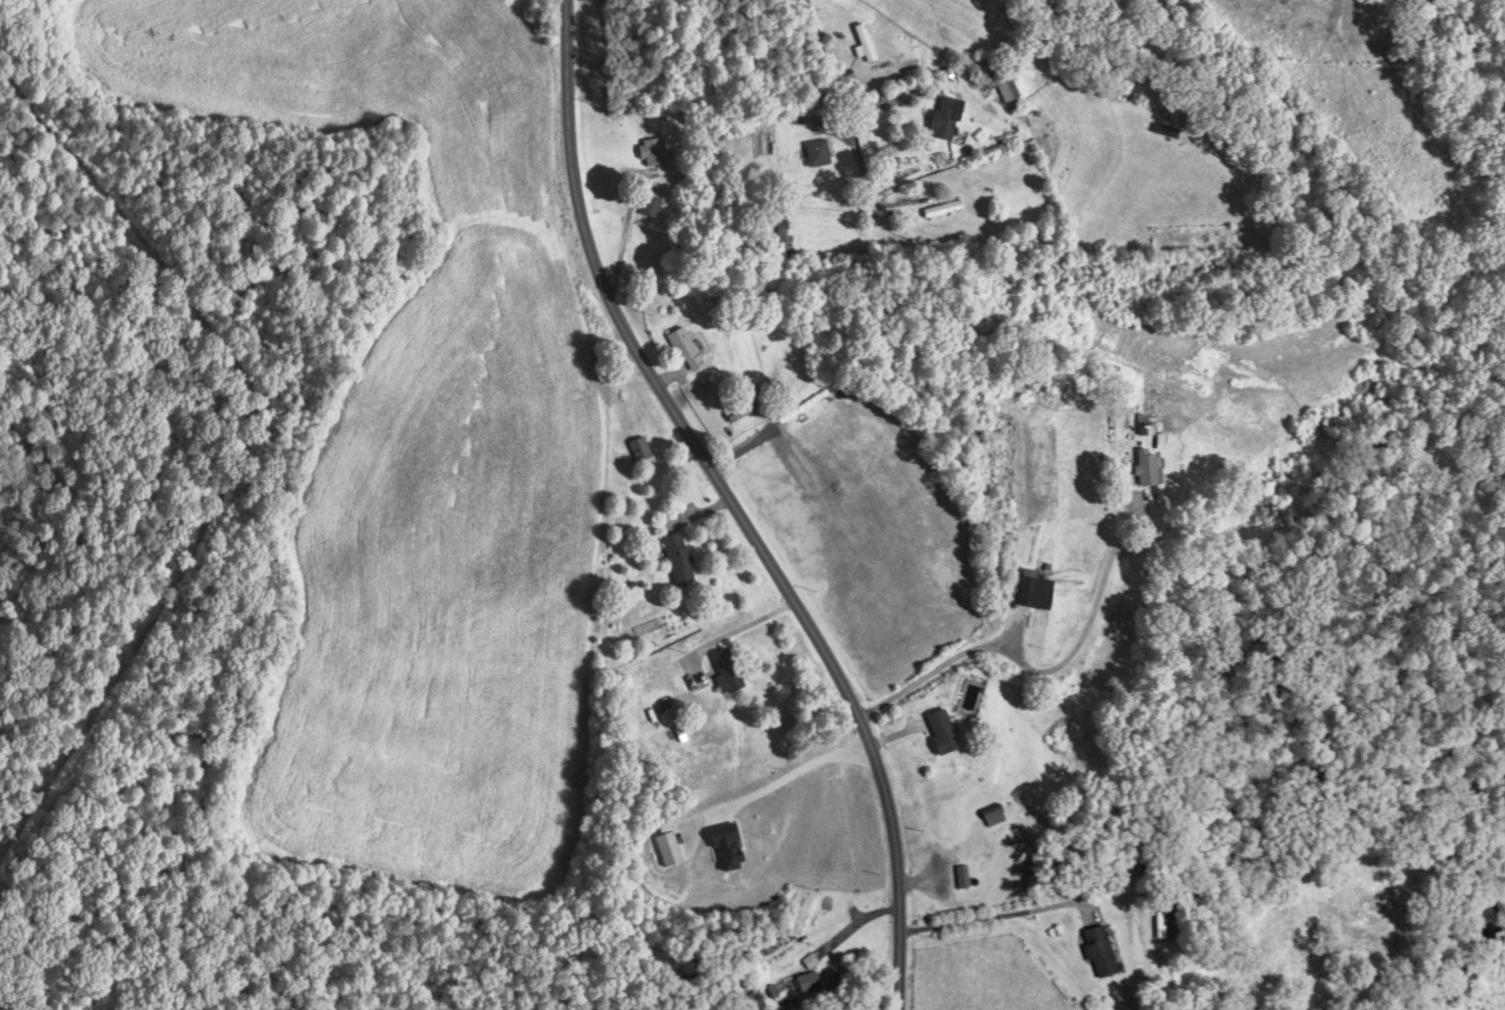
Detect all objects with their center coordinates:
building: (867, 43)
building: (1000, 75)
building: (948, 117)
road: (837, 122)
building: (654, 151)
building: (820, 152)
building: (654, 206)
road: (628, 224)
building: (787, 230)
road: (913, 300)
building: (688, 349)
building: (643, 449)
building: (1144, 467)
road: (715, 474)
building: (682, 557)
building: (1033, 591)
road: (1088, 623)
road: (738, 629)
building: (729, 671)
road: (935, 671)
building: (941, 731)
road: (793, 772)
building: (992, 816)
building: (1125, 867)
building: (961, 877)
road: (992, 917)
building: (1157, 925)
building: (1097, 952)
building: (813, 961)
road: (899, 977)
building: (811, 983)
building: (756, 1002)

